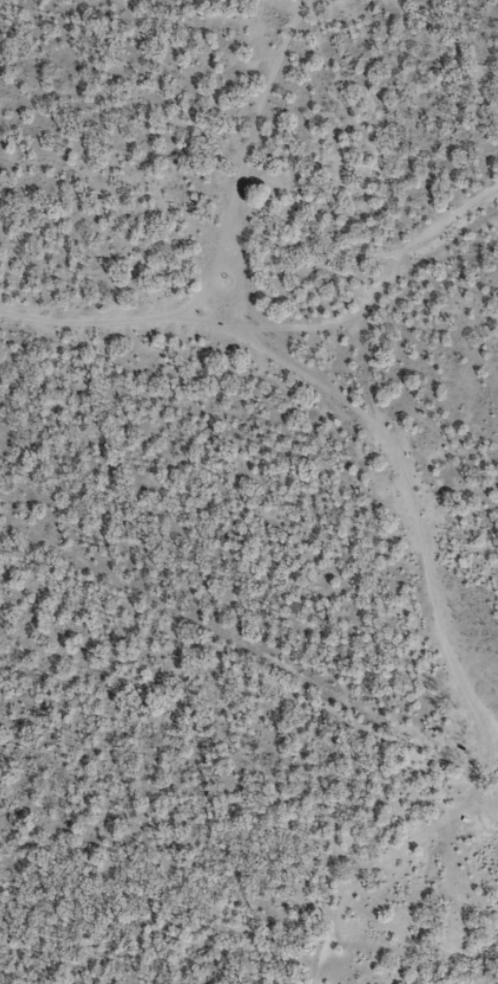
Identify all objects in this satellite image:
road: (142, 337)
road: (369, 466)
road: (482, 824)

